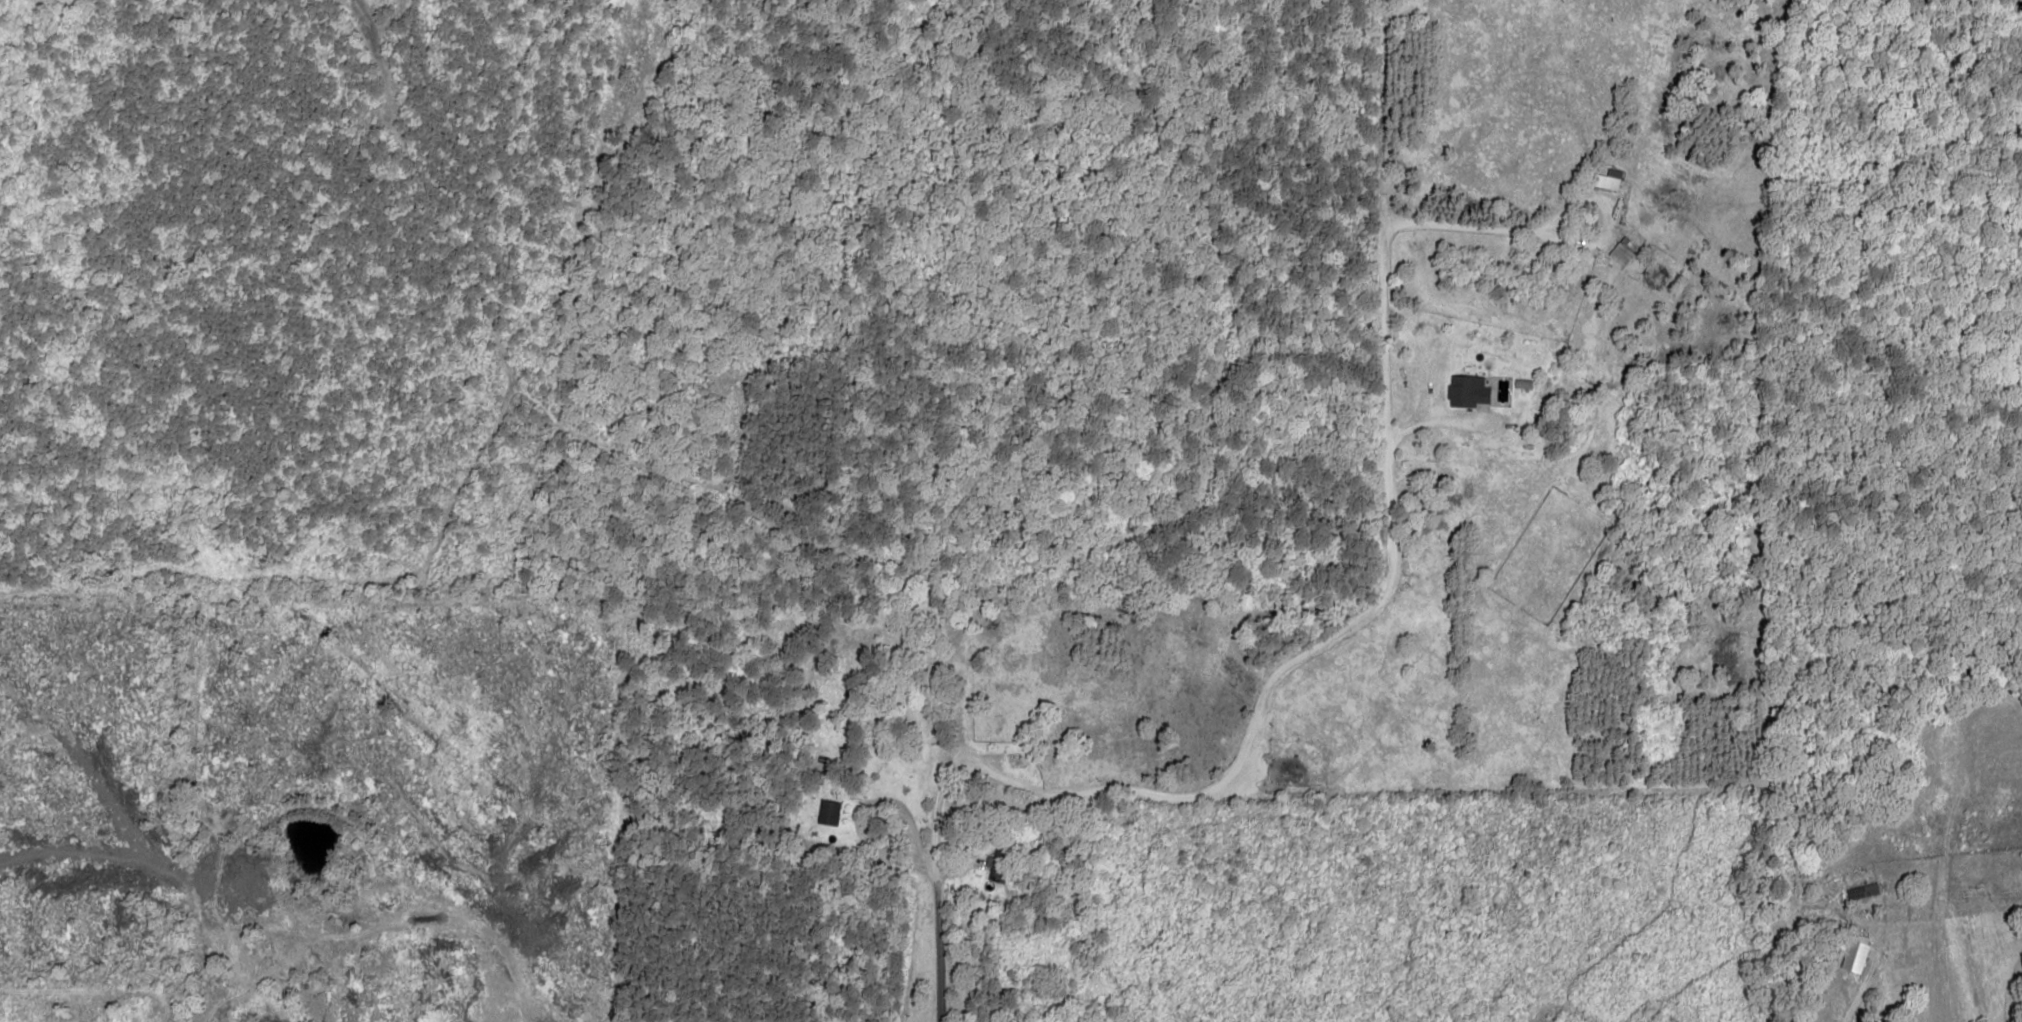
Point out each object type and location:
building: (1606, 179)
building: (1621, 251)
building: (1466, 391)
building: (828, 812)
building: (998, 865)
building: (1862, 891)
road: (938, 915)
building: (1854, 952)

